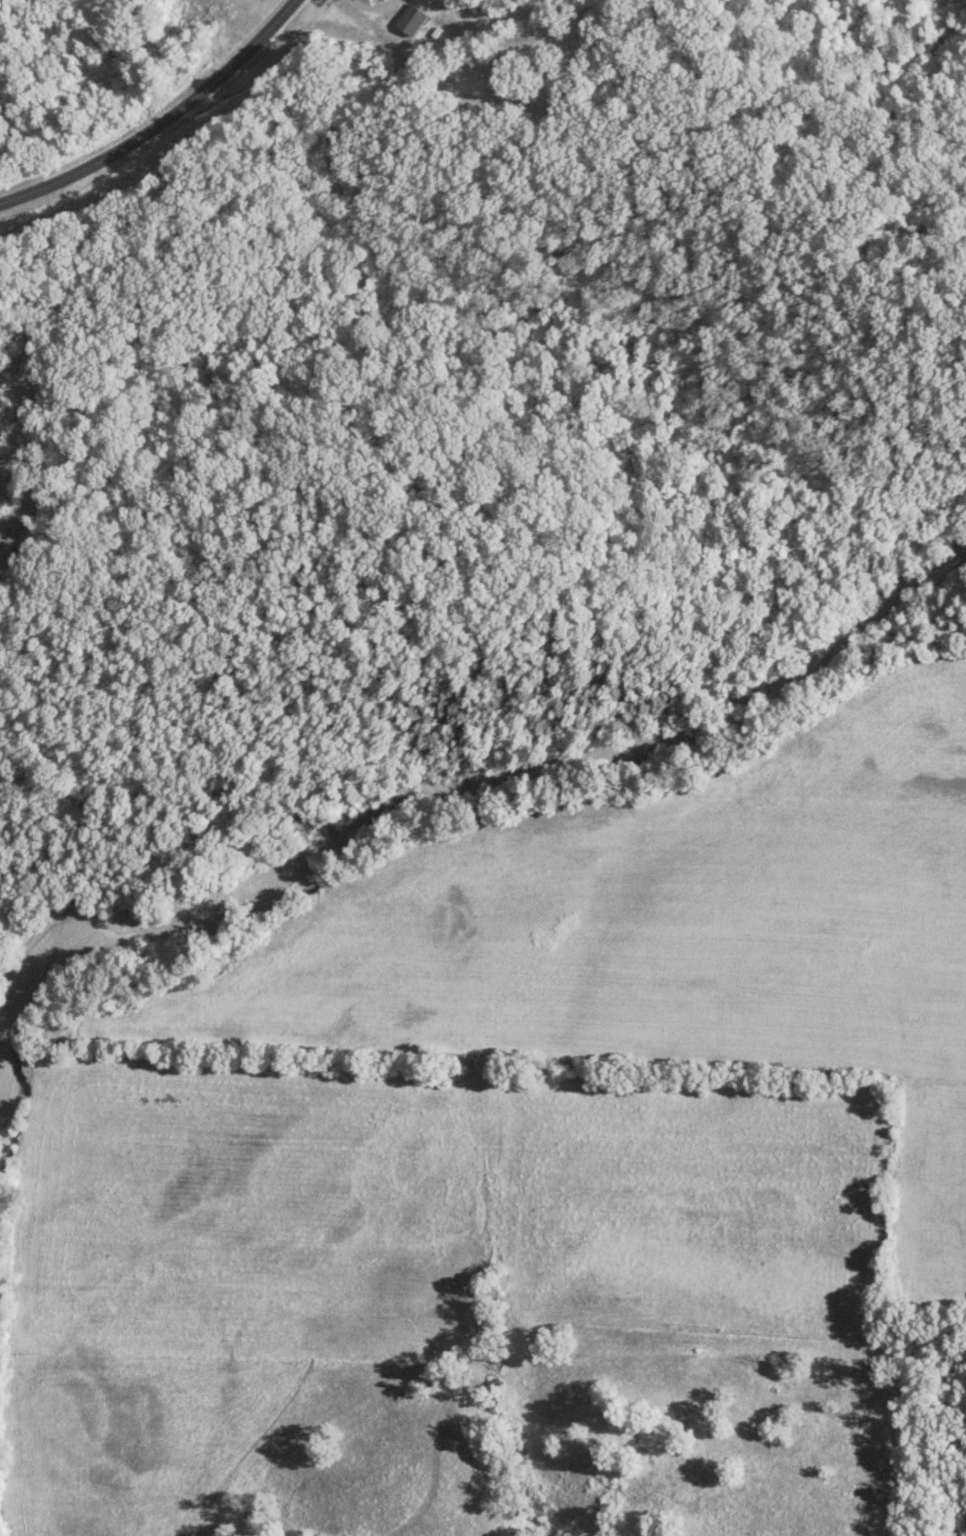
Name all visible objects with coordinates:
building: (410, 18)
road: (158, 120)
road: (9, 937)

